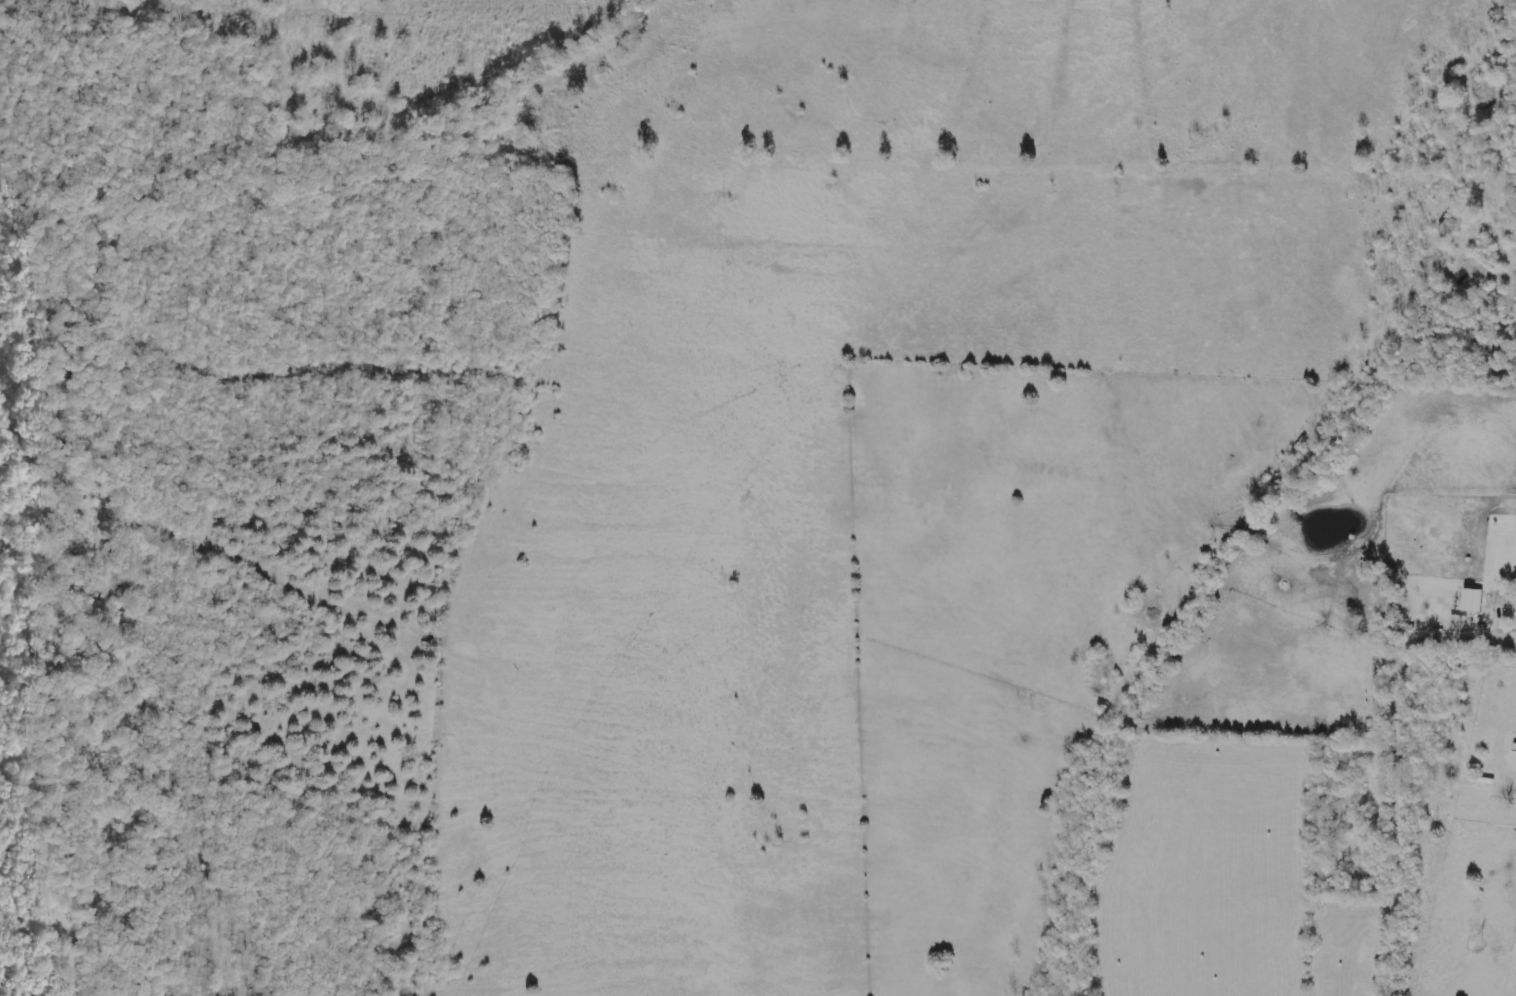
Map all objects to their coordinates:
building: (1374, 587)
road: (1409, 636)
road: (1499, 747)
building: (1514, 758)

